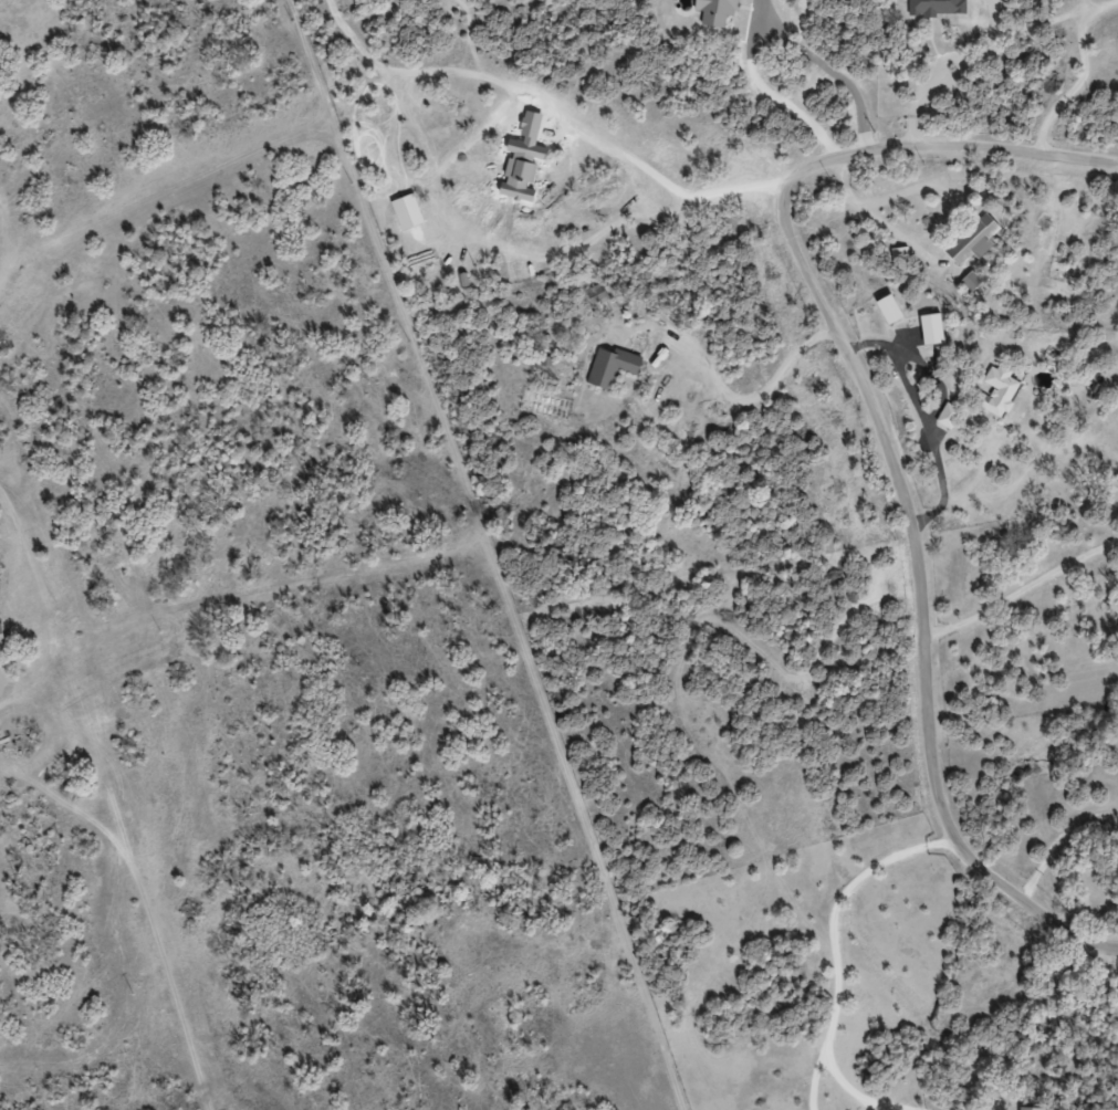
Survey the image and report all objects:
building: (932, 7)
road: (1054, 15)
road: (562, 107)
building: (969, 241)
building: (968, 280)
building: (595, 295)
building: (608, 366)
building: (993, 390)
building: (944, 416)
road: (888, 431)
road: (840, 939)
building: (1028, 1108)

